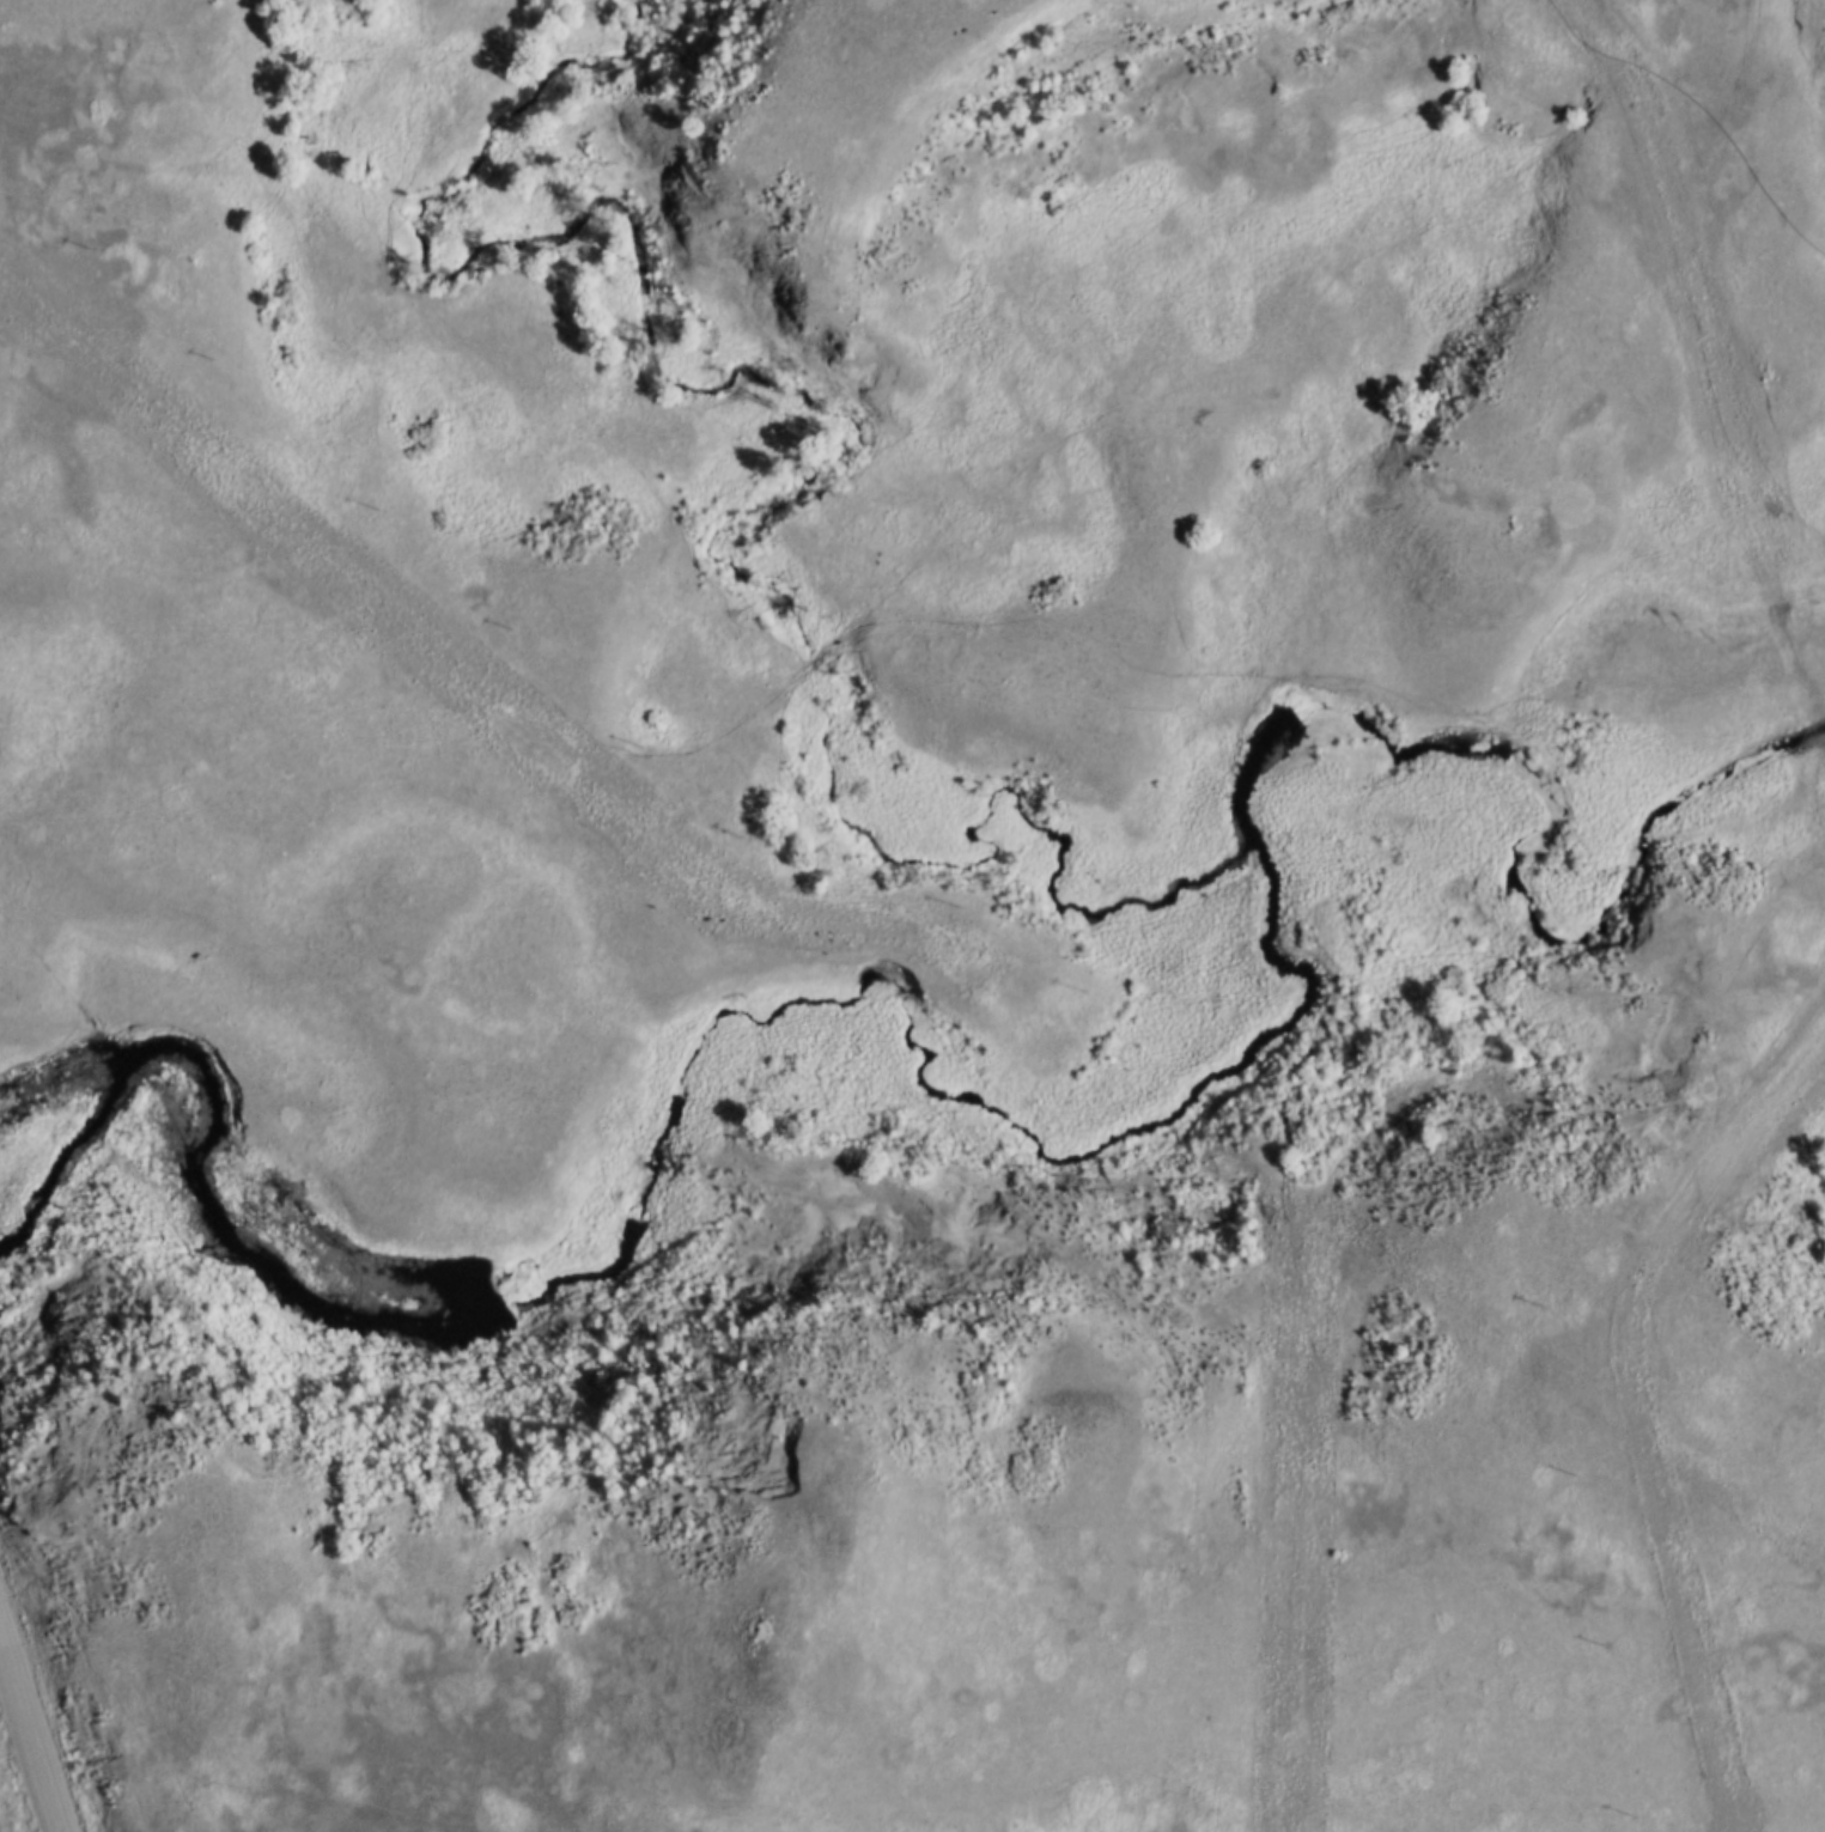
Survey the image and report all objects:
road: (31, 1730)

